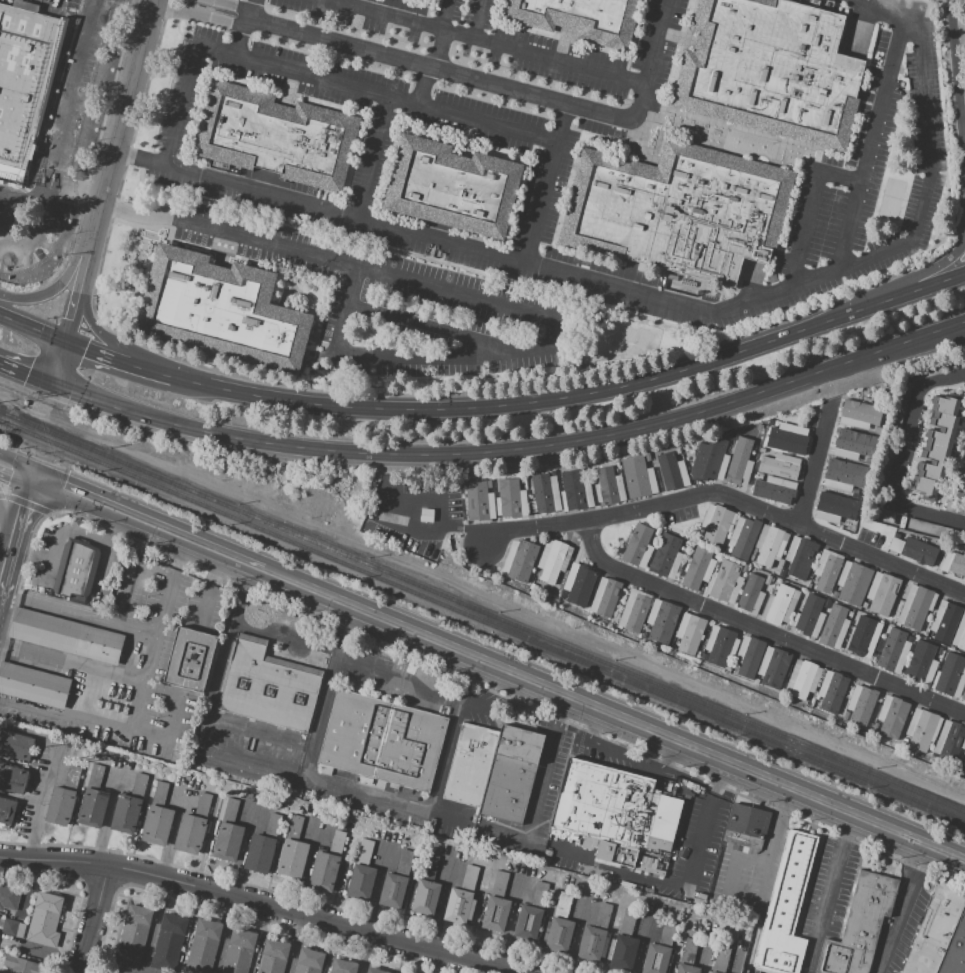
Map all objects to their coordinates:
road: (249, 6)
road: (444, 15)
road: (478, 19)
building: (578, 19)
road: (236, 25)
road: (488, 42)
road: (440, 50)
road: (654, 51)
building: (769, 70)
road: (453, 73)
building: (932, 73)
road: (315, 77)
building: (933, 78)
road: (959, 80)
building: (24, 84)
road: (423, 86)
building: (934, 87)
building: (935, 108)
road: (121, 114)
building: (275, 136)
road: (57, 138)
road: (867, 145)
road: (369, 156)
road: (547, 184)
road: (73, 186)
building: (453, 187)
road: (806, 207)
building: (678, 210)
road: (1, 224)
road: (85, 255)
road: (911, 280)
road: (59, 283)
road: (654, 299)
road: (486, 303)
road: (72, 310)
building: (221, 310)
traffic signals: (71, 318)
road: (32, 328)
road: (432, 328)
road: (949, 333)
road: (108, 342)
traffic signals: (88, 346)
road: (118, 356)
road: (58, 363)
road: (25, 376)
traffic signals: (25, 376)
building: (964, 380)
road: (574, 396)
road: (729, 405)
building: (900, 409)
building: (859, 415)
building: (733, 436)
building: (789, 439)
road: (264, 444)
building: (850, 444)
building: (936, 447)
building: (677, 451)
road: (901, 454)
building: (647, 457)
road: (17, 462)
building: (709, 462)
building: (785, 464)
road: (813, 464)
building: (884, 466)
building: (739, 469)
building: (618, 470)
building: (672, 471)
building: (844, 475)
building: (760, 476)
building: (638, 477)
road: (14, 478)
traffic signals: (8, 479)
building: (958, 481)
road: (46, 482)
building: (608, 486)
traffic signals: (62, 489)
building: (774, 490)
building: (575, 491)
building: (545, 494)
road: (727, 497)
building: (510, 499)
road: (423, 500)
building: (479, 500)
traffic signals: (21, 507)
road: (20, 508)
building: (834, 508)
building: (954, 508)
building: (426, 515)
road: (6, 521)
building: (716, 524)
road: (448, 528)
building: (932, 528)
road: (162, 529)
road: (59, 532)
building: (657, 532)
building: (896, 536)
road: (5, 537)
building: (743, 537)
building: (770, 545)
building: (895, 545)
building: (690, 546)
building: (638, 547)
building: (728, 548)
building: (919, 551)
road: (29, 553)
building: (716, 555)
building: (665, 556)
road: (106, 557)
building: (799, 558)
road: (5, 559)
building: (519, 560)
building: (553, 560)
building: (941, 563)
building: (956, 566)
building: (697, 569)
building: (76, 570)
building: (745, 570)
building: (827, 570)
building: (781, 573)
building: (724, 582)
building: (853, 583)
building: (578, 585)
building: (765, 585)
building: (533, 586)
road: (125, 591)
building: (882, 593)
building: (834, 594)
building: (751, 595)
building: (605, 597)
building: (779, 605)
building: (864, 606)
building: (915, 608)
road: (204, 610)
building: (634, 611)
railway: (482, 612)
building: (850, 614)
road: (79, 615)
building: (808, 616)
building: (661, 620)
railway: (482, 622)
building: (944, 622)
building: (833, 627)
road: (160, 628)
road: (763, 631)
building: (690, 633)
building: (960, 634)
building: (644, 635)
building: (66, 636)
building: (909, 639)
building: (861, 640)
building: (719, 645)
building: (673, 648)
building: (894, 651)
building: (749, 655)
building: (703, 658)
building: (189, 659)
road: (191, 660)
road: (349, 660)
building: (920, 663)
building: (773, 667)
building: (950, 676)
building: (802, 679)
building: (755, 682)
building: (34, 685)
building: (268, 686)
building: (831, 691)
building: (963, 695)
road: (468, 696)
road: (141, 701)
building: (191, 704)
building: (861, 704)
road: (613, 715)
building: (844, 716)
building: (891, 716)
road: (320, 718)
building: (874, 728)
building: (922, 729)
road: (259, 731)
road: (171, 733)
building: (950, 740)
building: (903, 741)
building: (381, 742)
building: (15, 746)
building: (964, 756)
road: (446, 759)
building: (963, 764)
building: (492, 770)
road: (547, 770)
road: (50, 772)
building: (94, 777)
building: (72, 778)
building: (12, 779)
building: (139, 786)
road: (351, 793)
building: (159, 794)
building: (203, 805)
building: (60, 806)
building: (92, 808)
building: (359, 808)
building: (7, 810)
building: (230, 810)
building: (615, 813)
building: (125, 815)
building: (748, 821)
building: (157, 825)
building: (272, 825)
building: (294, 827)
building: (190, 832)
building: (228, 840)
building: (337, 842)
building: (732, 846)
building: (744, 850)
road: (771, 850)
building: (749, 851)
building: (364, 852)
building: (257, 853)
building: (548, 853)
building: (292, 858)
building: (545, 861)
building: (404, 863)
building: (428, 867)
building: (324, 871)
building: (591, 872)
building: (469, 878)
building: (360, 882)
building: (499, 884)
building: (392, 890)
road: (827, 892)
building: (539, 895)
building: (9, 896)
building: (425, 897)
building: (563, 904)
road: (250, 905)
building: (785, 906)
building: (459, 907)
road: (908, 909)
building: (495, 914)
building: (603, 916)
building: (44, 918)
road: (93, 920)
building: (1, 923)
building: (528, 923)
building: (626, 923)
building: (859, 925)
building: (9, 927)
building: (21, 930)
building: (933, 932)
building: (135, 933)
building: (667, 933)
building: (560, 934)
building: (169, 943)
building: (591, 943)
road: (641, 943)
building: (204, 946)
building: (955, 950)
building: (240, 951)
building: (688, 951)
building: (623, 952)
building: (273, 957)
building: (655, 959)
building: (720, 960)
building: (309, 961)
building: (21, 965)
building: (342, 966)
building: (687, 968)
building: (377, 971)
building: (401, 972)
building: (712, 972)

